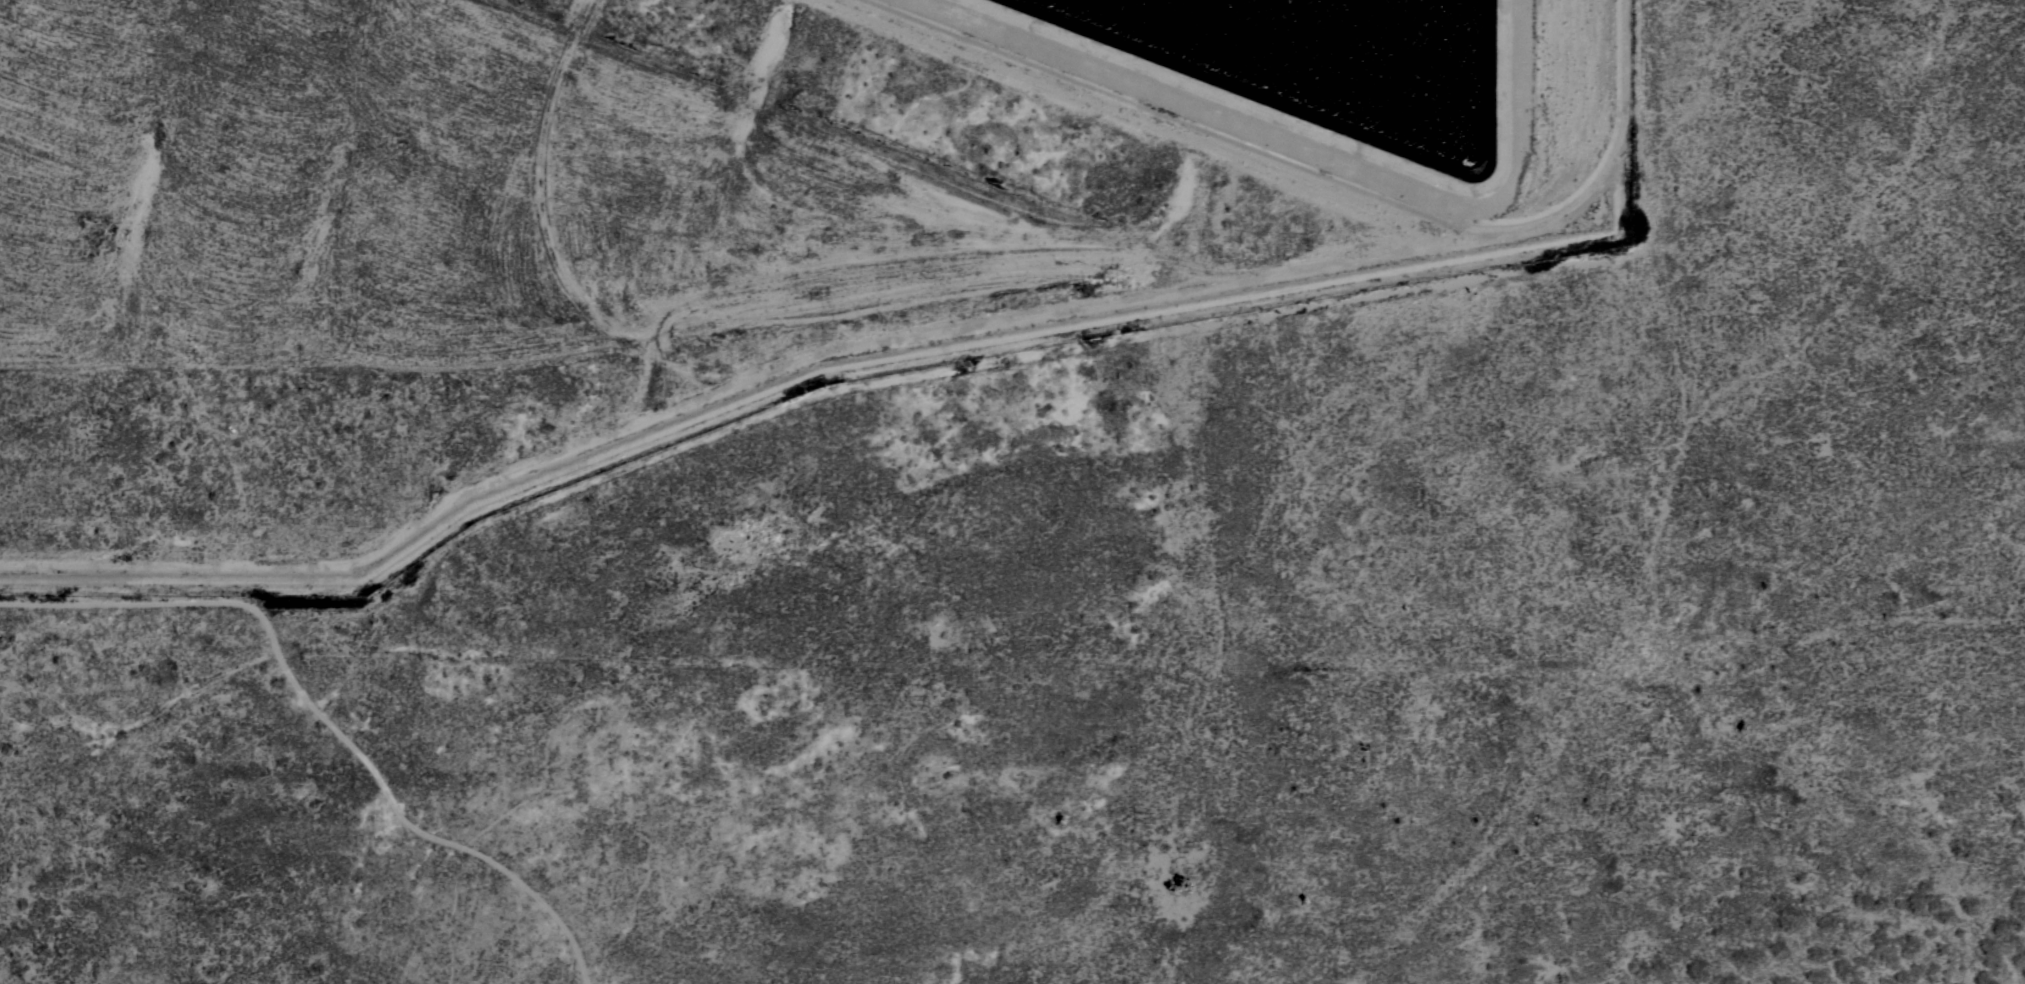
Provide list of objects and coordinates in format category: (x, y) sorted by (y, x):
wastewater plant: (1334, 73)
road: (165, 603)
road: (435, 839)

